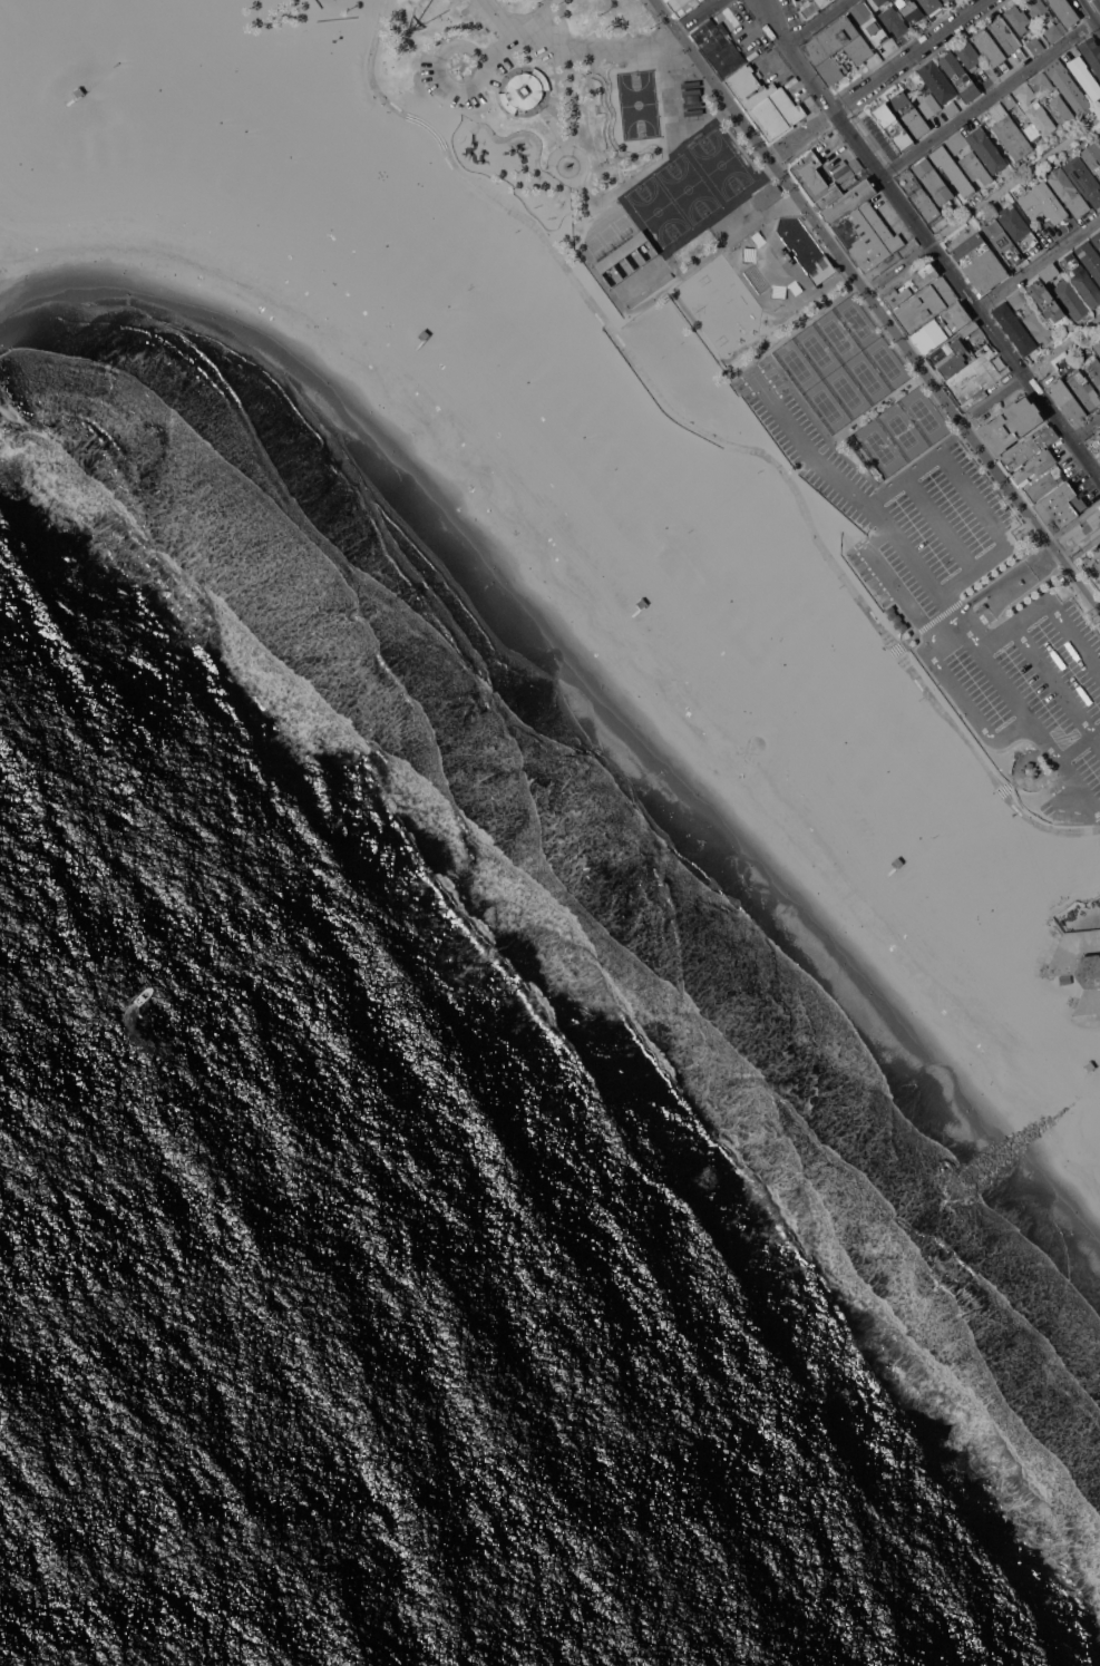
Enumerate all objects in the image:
building: (894, 0)
building: (945, 0)
building: (882, 1)
building: (826, 3)
building: (681, 6)
building: (932, 6)
street lamp: (534, 7)
road: (1094, 8)
building: (911, 10)
building: (1039, 11)
building: (1064, 12)
road: (697, 14)
street lamp: (654, 19)
building: (1019, 19)
road: (557, 21)
building: (894, 21)
road: (816, 22)
building: (869, 23)
road: (519, 29)
building: (1052, 32)
building: (1006, 36)
road: (514, 40)
street lamp: (338, 41)
building: (721, 41)
road: (605, 46)
building: (1035, 46)
building: (837, 48)
building: (990, 49)
building: (771, 50)
street lamp: (685, 52)
building: (1092, 52)
road: (497, 53)
building: (968, 53)
road: (911, 55)
road: (512, 57)
road: (439, 75)
road: (510, 75)
street lamp: (583, 75)
building: (958, 75)
building: (1086, 77)
building: (937, 81)
building: (1041, 84)
building: (691, 85)
building: (1068, 86)
building: (749, 88)
building: (525, 91)
building: (77, 92)
road: (558, 94)
building: (1028, 94)
park: (544, 95)
street lamp: (716, 96)
road: (990, 97)
road: (570, 99)
building: (692, 99)
road: (554, 101)
building: (1010, 101)
park: (637, 105)
building: (929, 105)
building: (952, 108)
building: (1061, 111)
flagpole: (539, 113)
building: (694, 113)
building: (909, 114)
building: (776, 115)
road: (515, 117)
road: (551, 119)
building: (1039, 121)
building: (893, 127)
building: (1006, 131)
road: (801, 133)
road: (528, 135)
building: (1098, 140)
building: (957, 142)
road: (566, 145)
building: (986, 149)
road: (571, 150)
road: (566, 154)
building: (1092, 157)
road: (566, 158)
park: (719, 163)
road: (561, 166)
road: (653, 166)
building: (975, 167)
building: (951, 169)
building: (809, 174)
building: (1083, 178)
building: (934, 181)
road: (568, 182)
road: (523, 183)
park: (685, 187)
building: (765, 193)
building: (1068, 193)
building: (828, 196)
building: (918, 196)
building: (848, 201)
building: (1042, 202)
road: (983, 204)
park: (655, 208)
building: (1018, 227)
building: (867, 236)
building: (1097, 240)
road: (927, 243)
building: (1003, 243)
building: (622, 252)
park: (626, 259)
building: (1090, 259)
road: (704, 262)
building: (980, 262)
road: (1038, 264)
building: (819, 270)
road: (851, 270)
building: (1049, 272)
building: (1081, 280)
building: (912, 284)
building: (1018, 299)
building: (1071, 299)
building: (1048, 303)
building: (924, 304)
park: (855, 319)
building: (1038, 327)
building: (940, 328)
building: (968, 329)
building: (1014, 329)
park: (835, 333)
building: (422, 338)
building: (1097, 347)
park: (815, 348)
park: (671, 350)
building: (954, 359)
park: (885, 361)
park: (795, 362)
road: (1029, 369)
building: (1093, 370)
park: (864, 374)
building: (972, 377)
park: (844, 389)
building: (1084, 390)
building: (1067, 400)
park: (825, 405)
park: (923, 412)
building: (1011, 425)
road: (1084, 428)
park: (899, 429)
road: (710, 436)
building: (1096, 444)
park: (877, 445)
building: (1026, 449)
road: (799, 462)
building: (1034, 466)
building: (1044, 484)
road: (860, 495)
road: (971, 496)
building: (1060, 505)
road: (938, 522)
road: (1078, 533)
road: (1051, 544)
building: (1099, 548)
building: (1093, 567)
road: (1003, 568)
road: (1078, 579)
road: (893, 582)
road: (1004, 584)
parking lot: (963, 592)
toll booth: (983, 600)
building: (641, 604)
building: (894, 616)
road: (1059, 618)
road: (926, 622)
road: (942, 627)
road: (966, 632)
road: (892, 652)
road: (1041, 661)
road: (966, 708)
road: (1038, 729)
road: (1097, 737)
road: (1080, 743)
building: (1029, 770)
building: (895, 825)
road: (1082, 915)
building: (1080, 963)
building: (1063, 978)
building: (1089, 1065)

